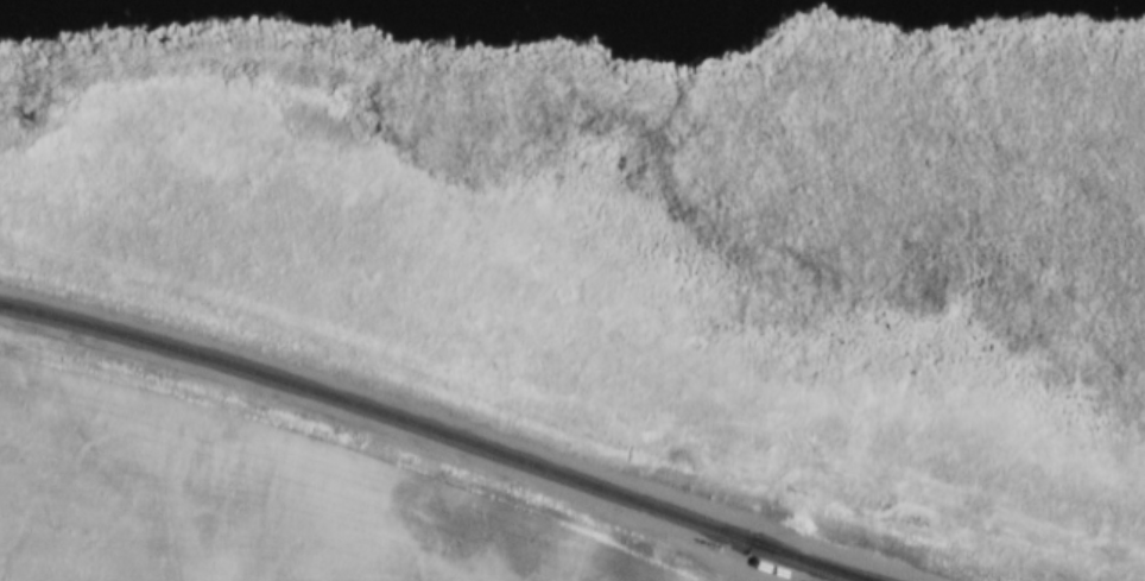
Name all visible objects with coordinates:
railway: (429, 436)
road: (868, 561)
railway: (811, 563)

